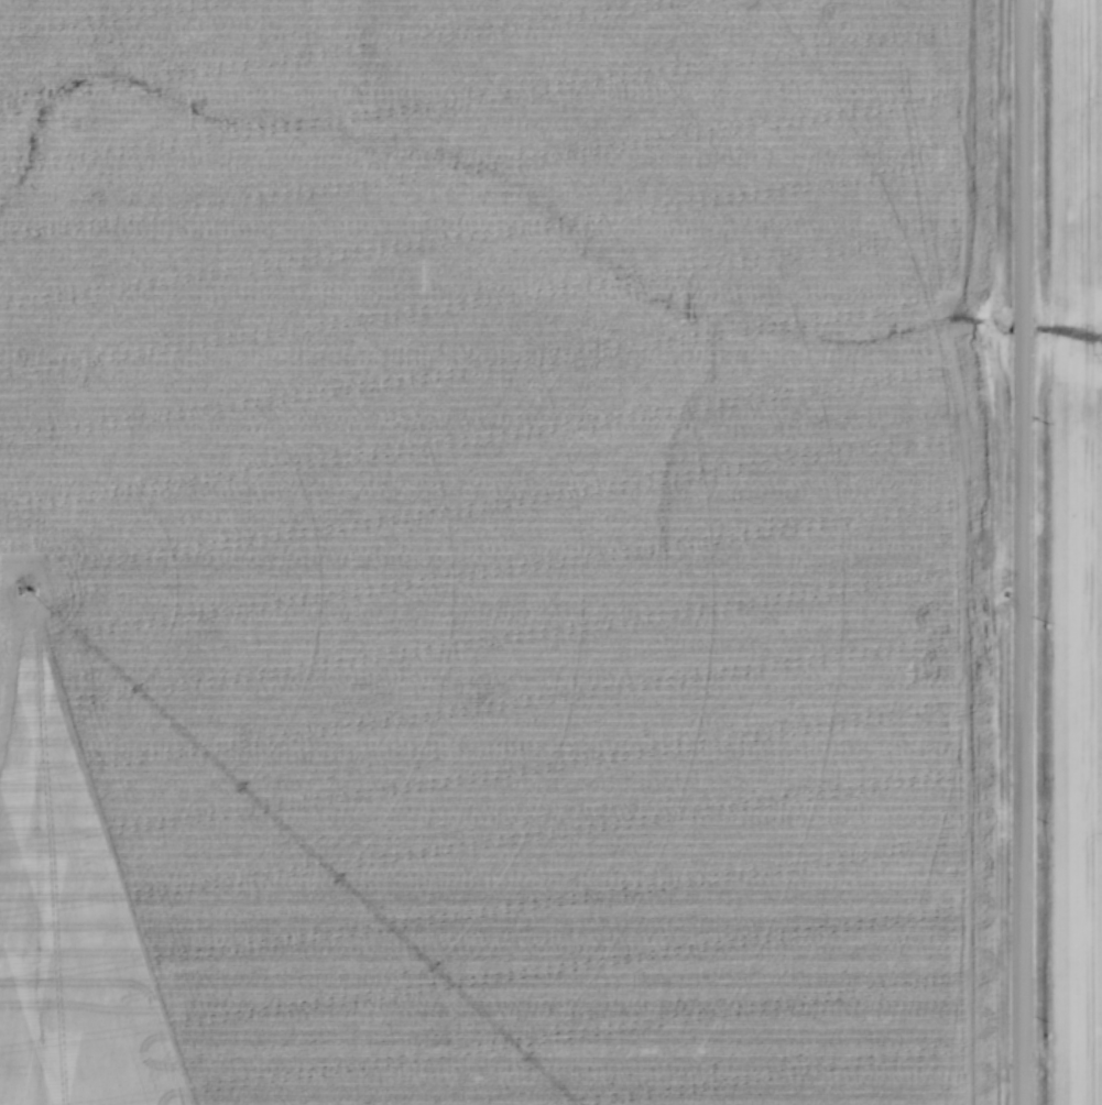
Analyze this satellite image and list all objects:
road: (1019, 552)

